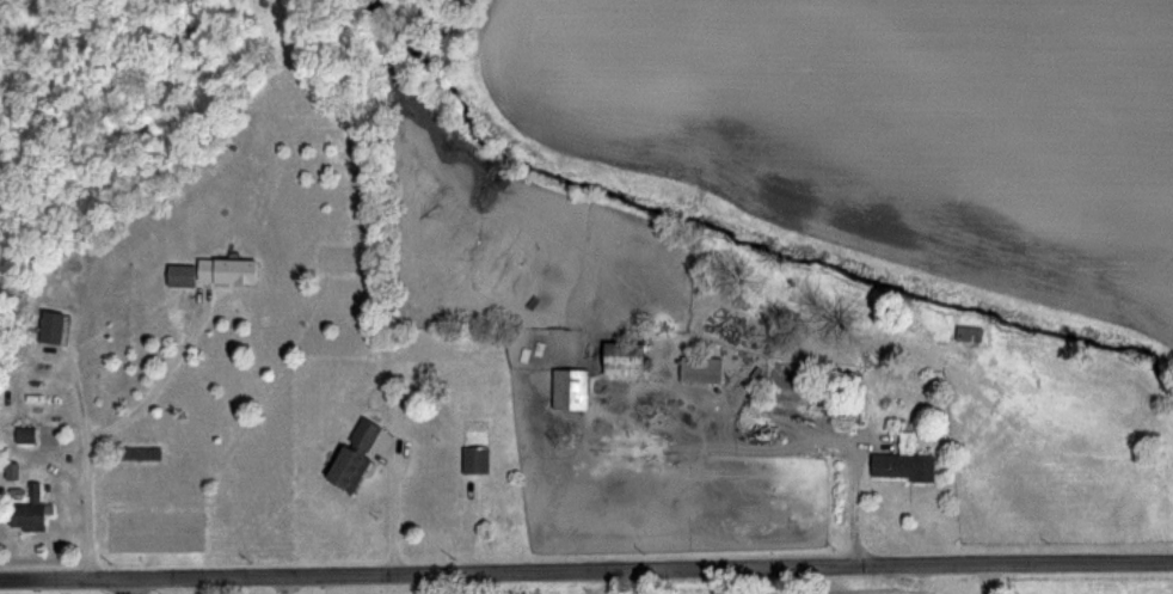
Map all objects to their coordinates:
building: (213, 271)
building: (51, 327)
building: (622, 359)
building: (700, 369)
road: (155, 375)
road: (678, 388)
building: (570, 390)
building: (25, 435)
building: (354, 455)
building: (474, 460)
road: (847, 460)
building: (902, 466)
road: (386, 497)
road: (82, 504)
building: (27, 512)
road: (780, 567)
road: (194, 576)
road: (990, 578)
road: (116, 586)

